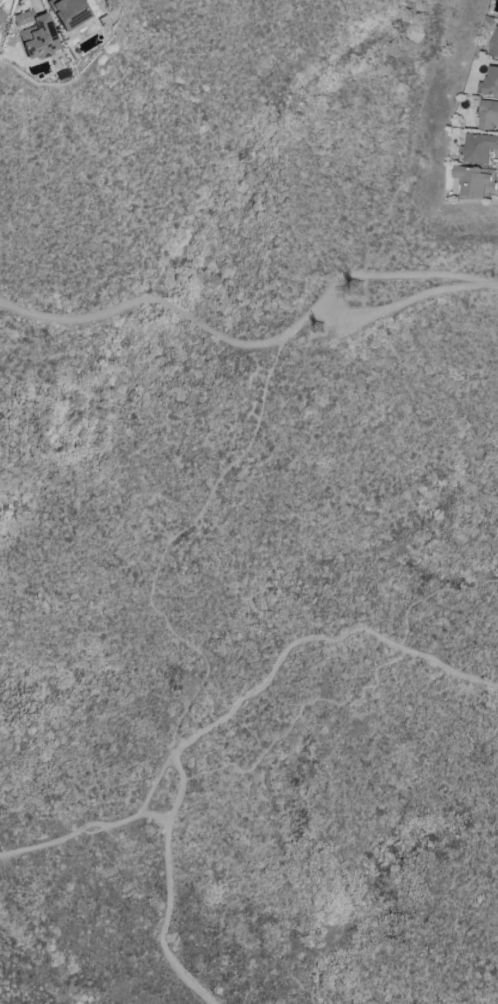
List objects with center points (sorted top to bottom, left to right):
building: (68, 12)
building: (1, 15)
building: (35, 35)
building: (494, 42)
building: (491, 80)
building: (488, 114)
building: (479, 147)
building: (474, 180)
power tower: (356, 291)
power tower: (318, 329)
road: (247, 344)
road: (170, 540)
road: (222, 721)
road: (154, 817)
road: (105, 824)

